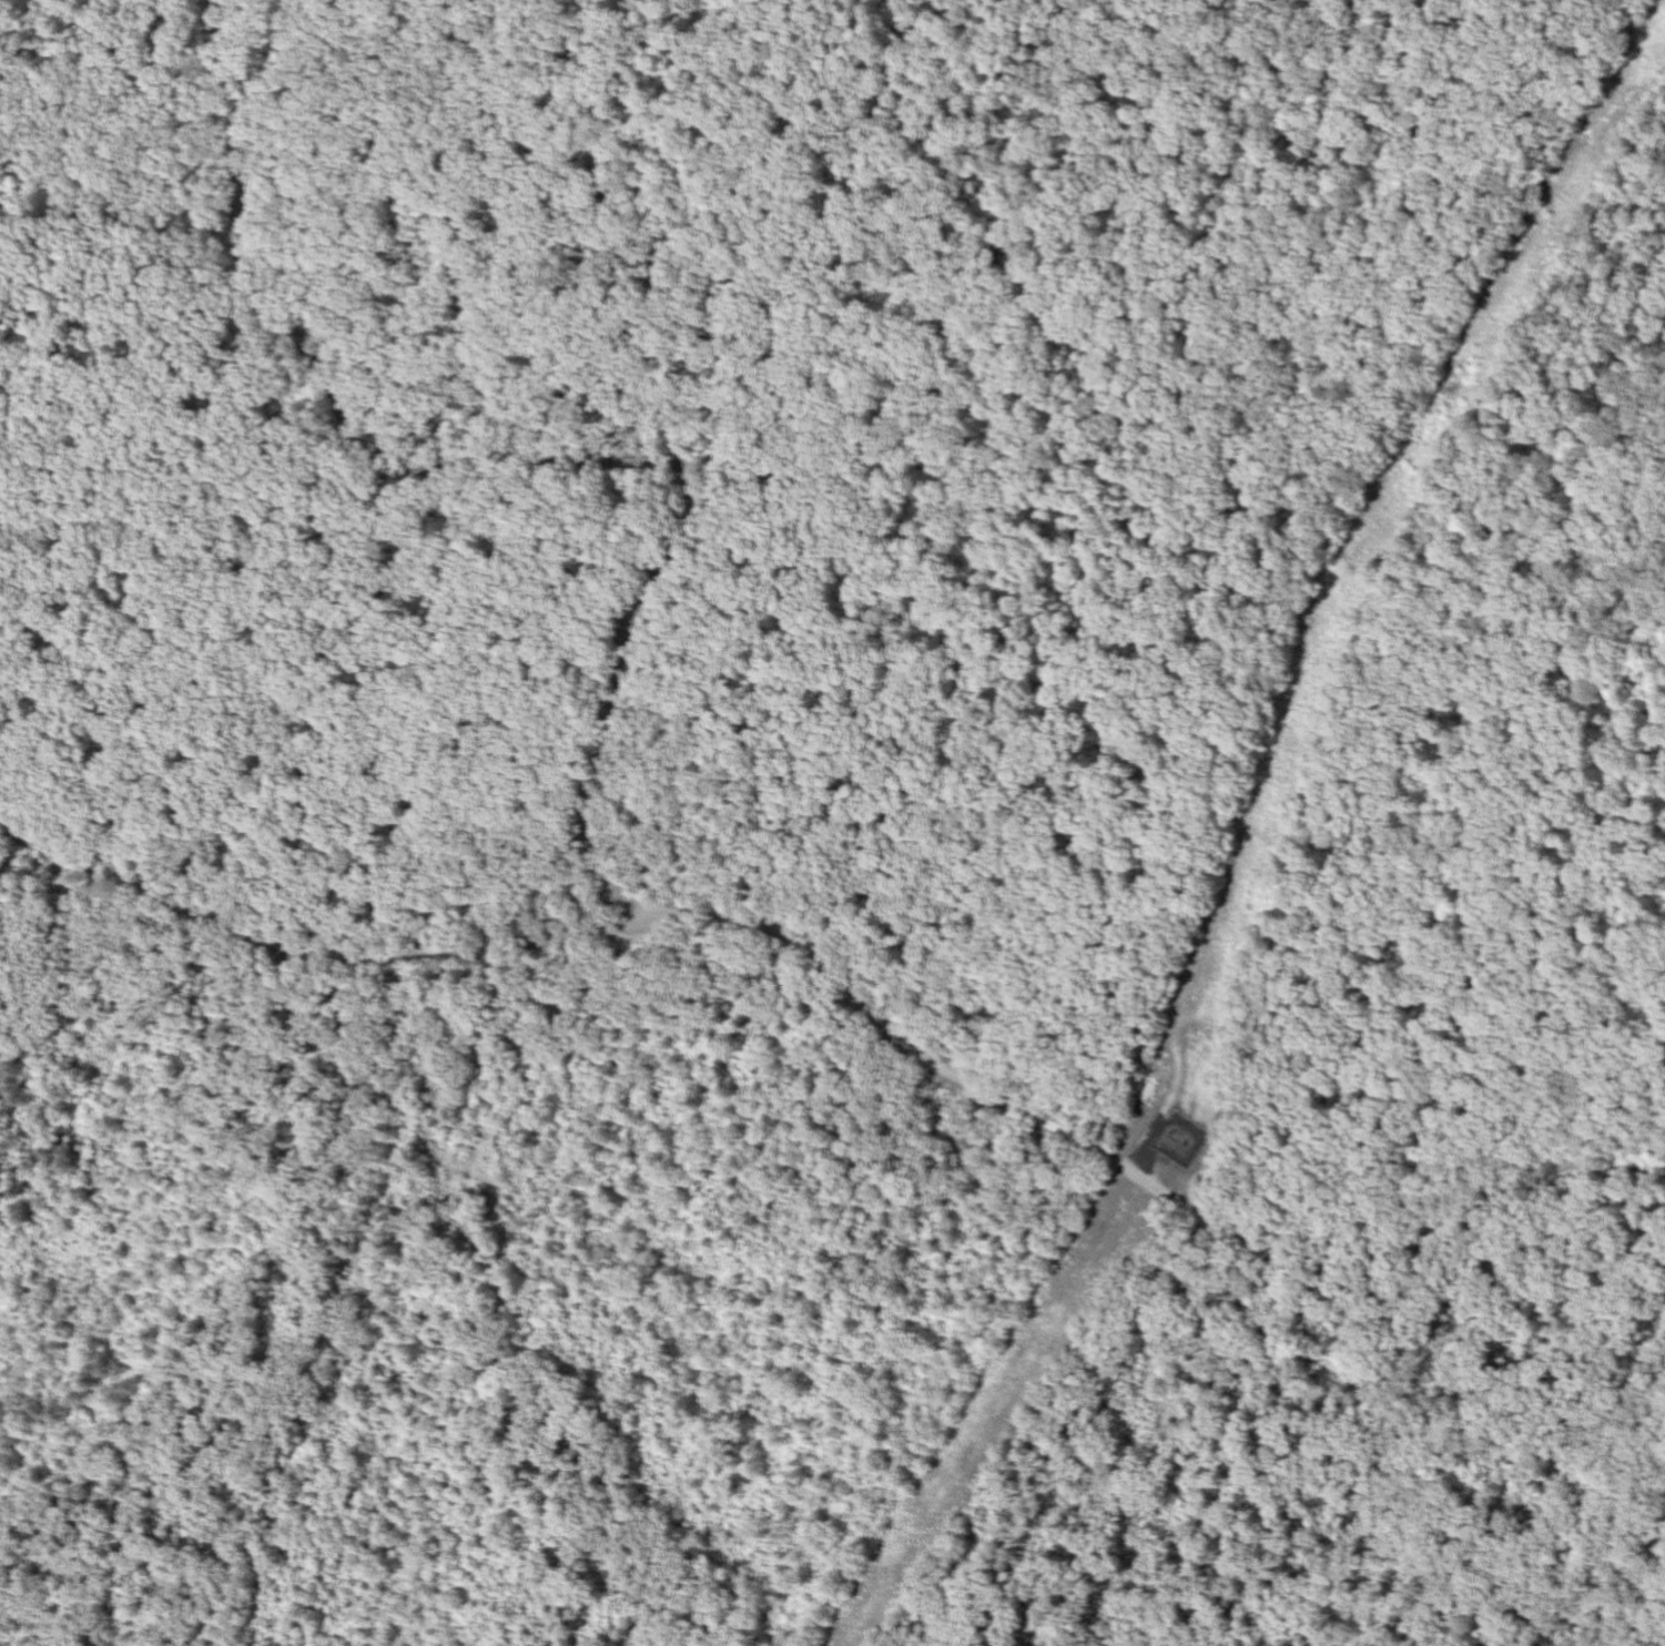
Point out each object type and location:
road: (527, 464)
road: (855, 995)

